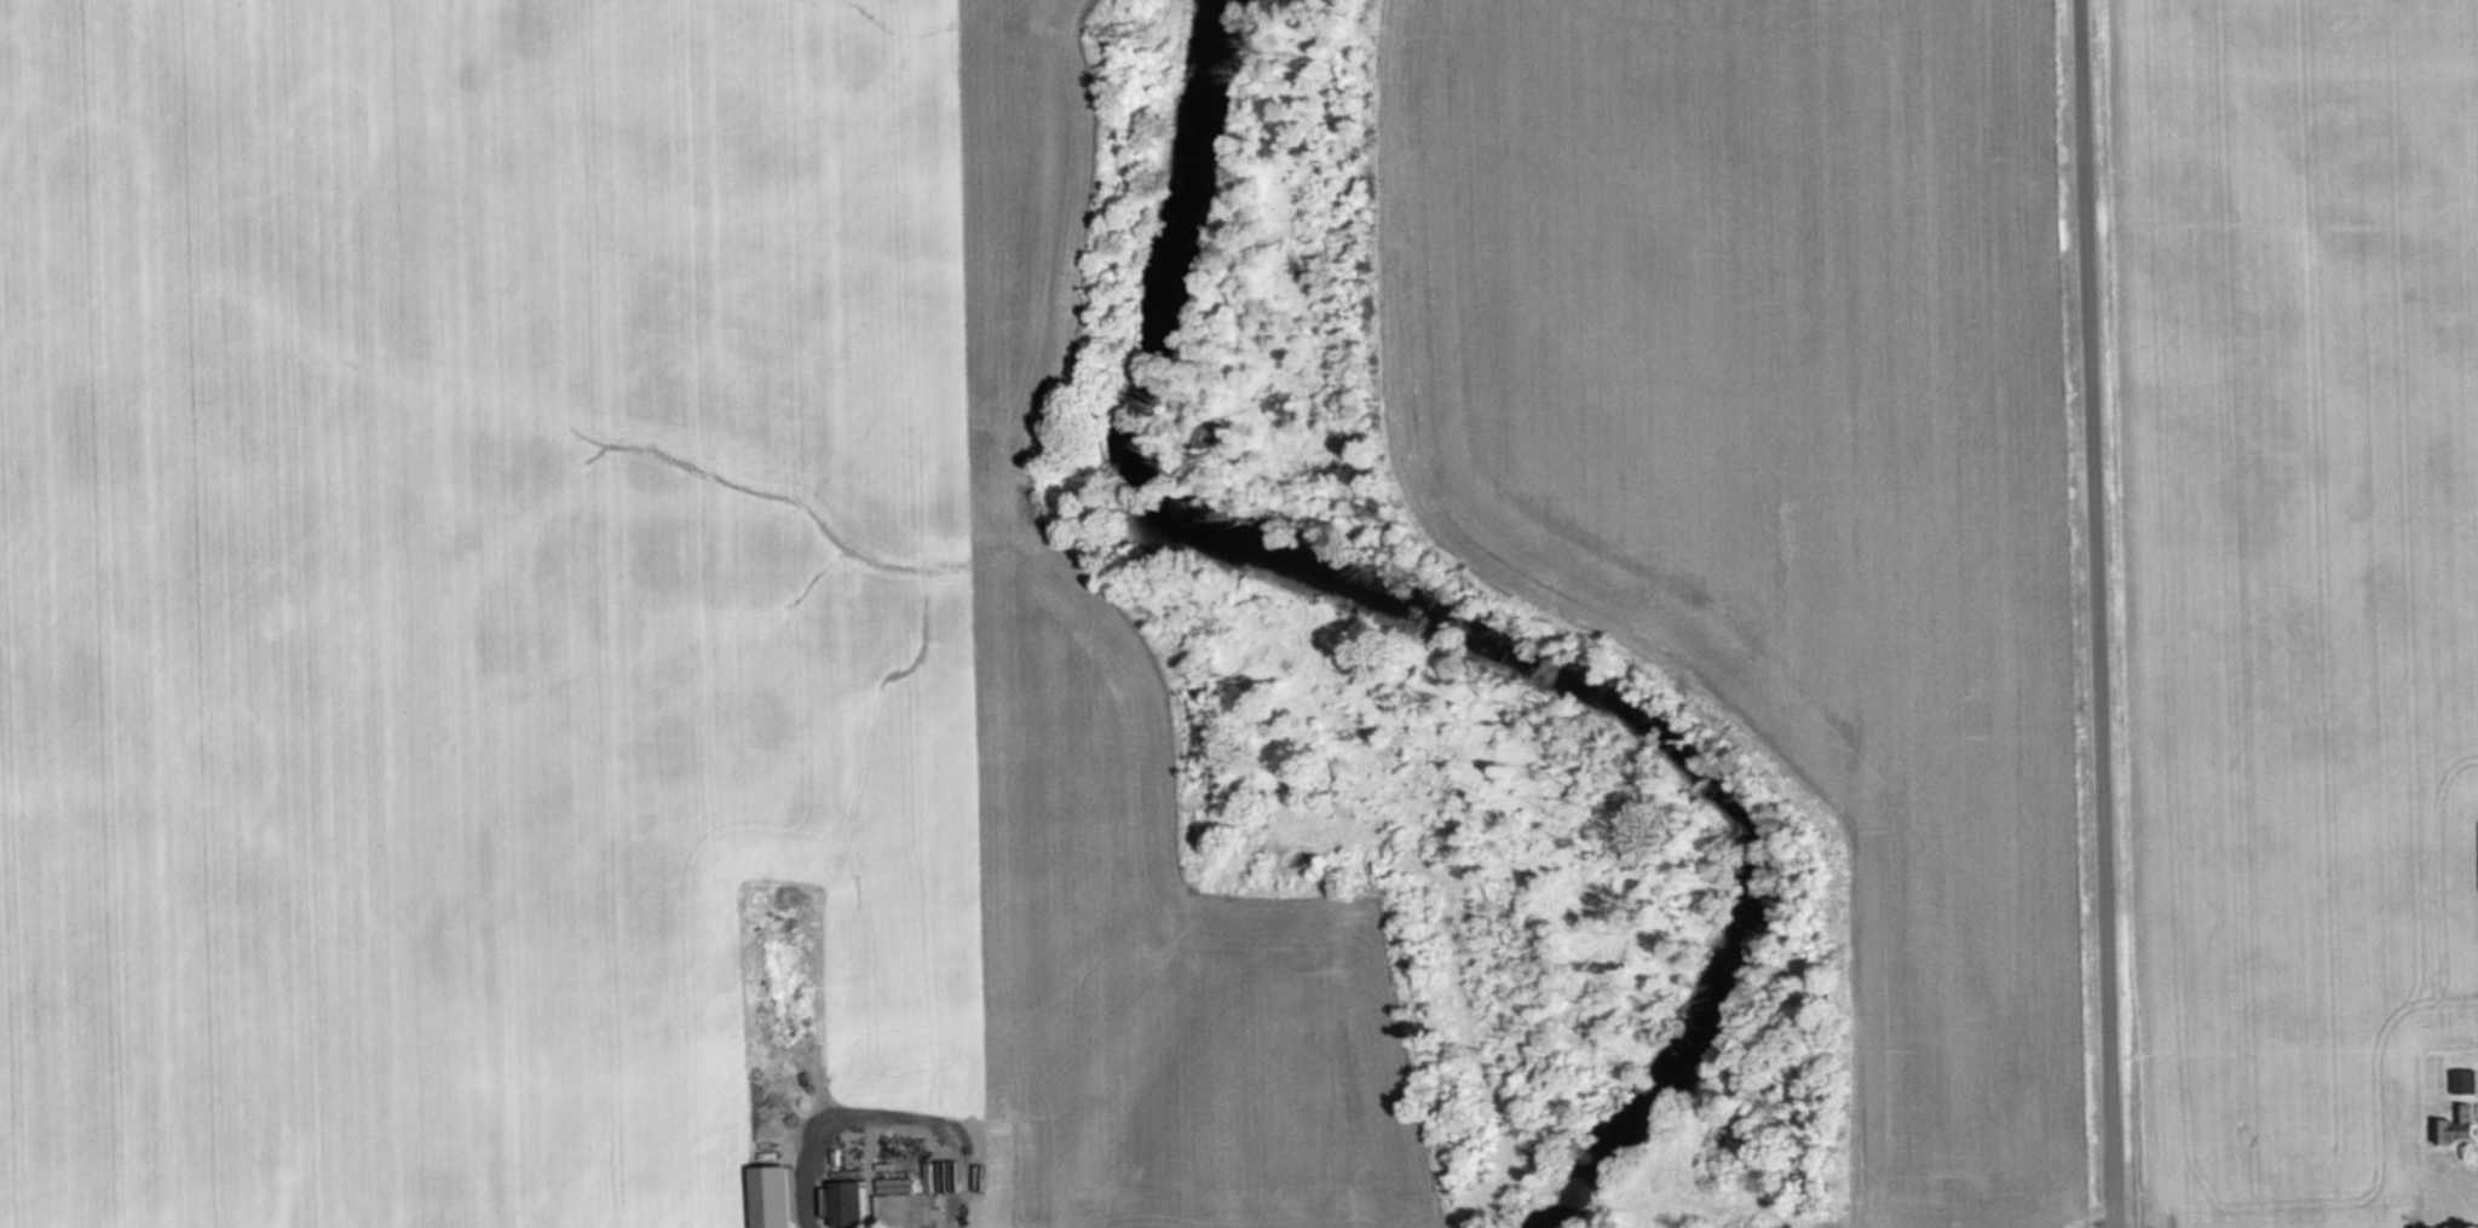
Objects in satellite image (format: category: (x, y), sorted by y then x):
road: (2108, 613)
river: (1445, 633)
building: (2462, 1083)
building: (2457, 1128)
building: (854, 1204)
building: (912, 1205)

